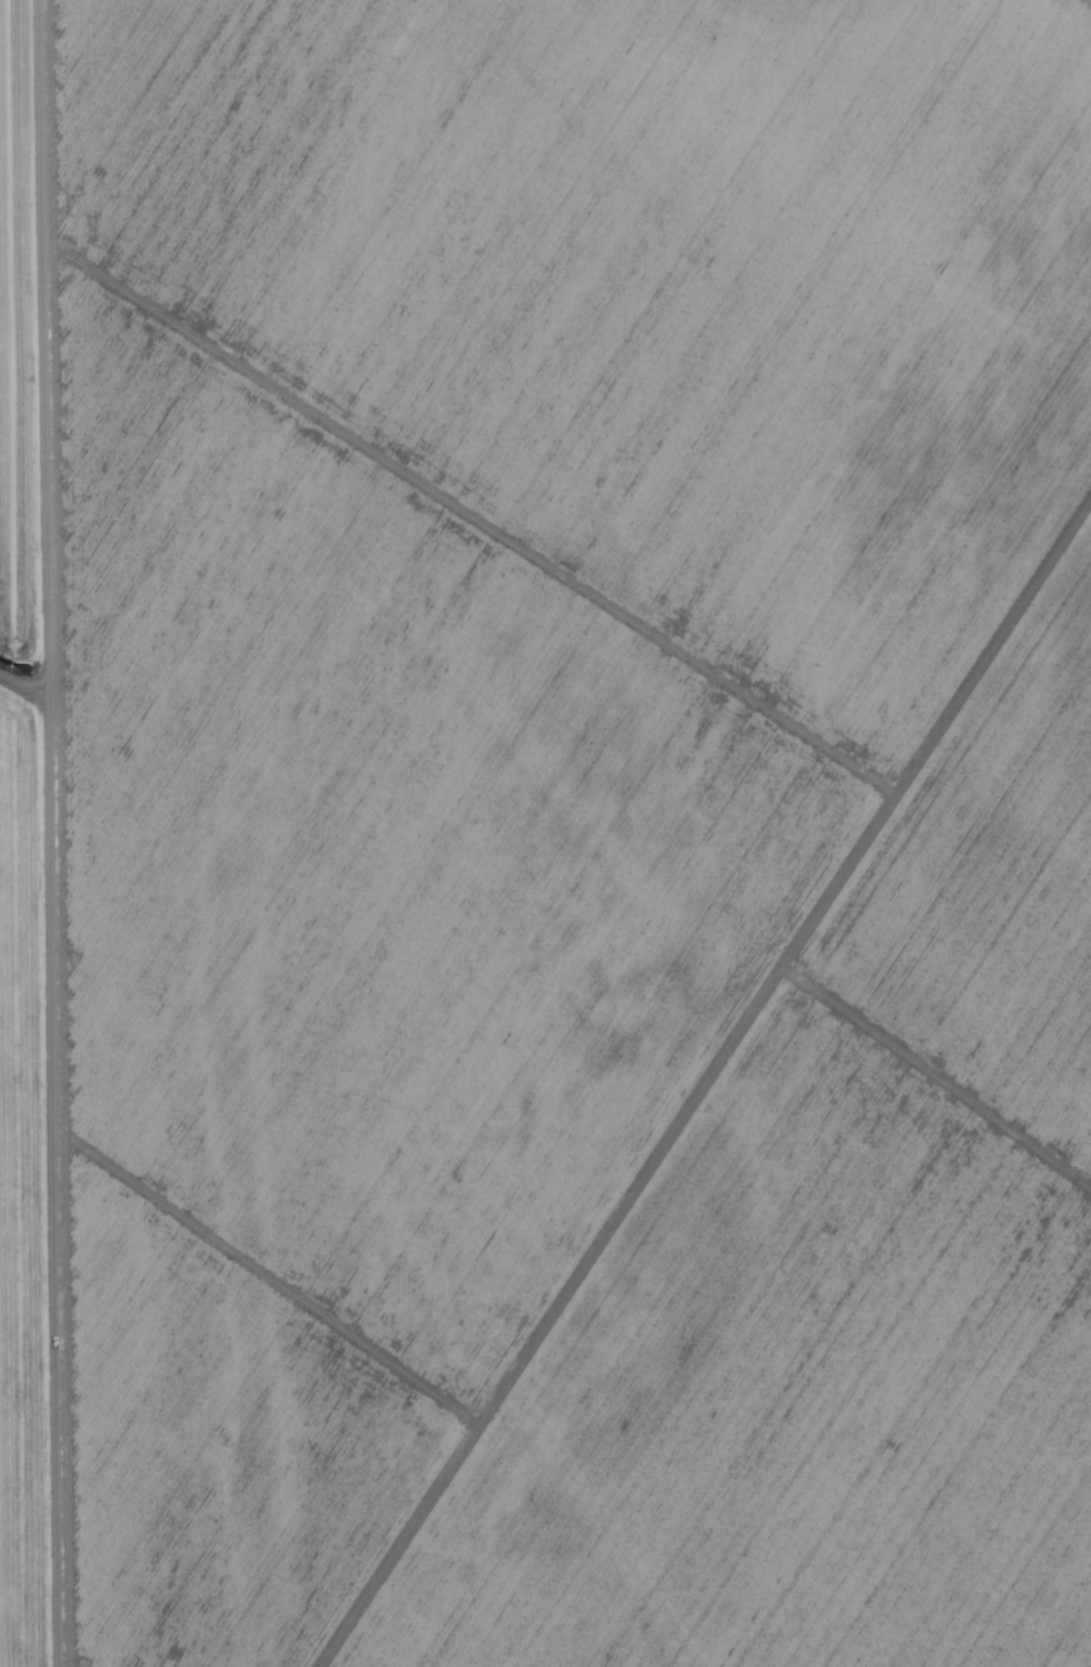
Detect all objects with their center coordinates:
crop: (579, 830)
crop: (34, 885)

